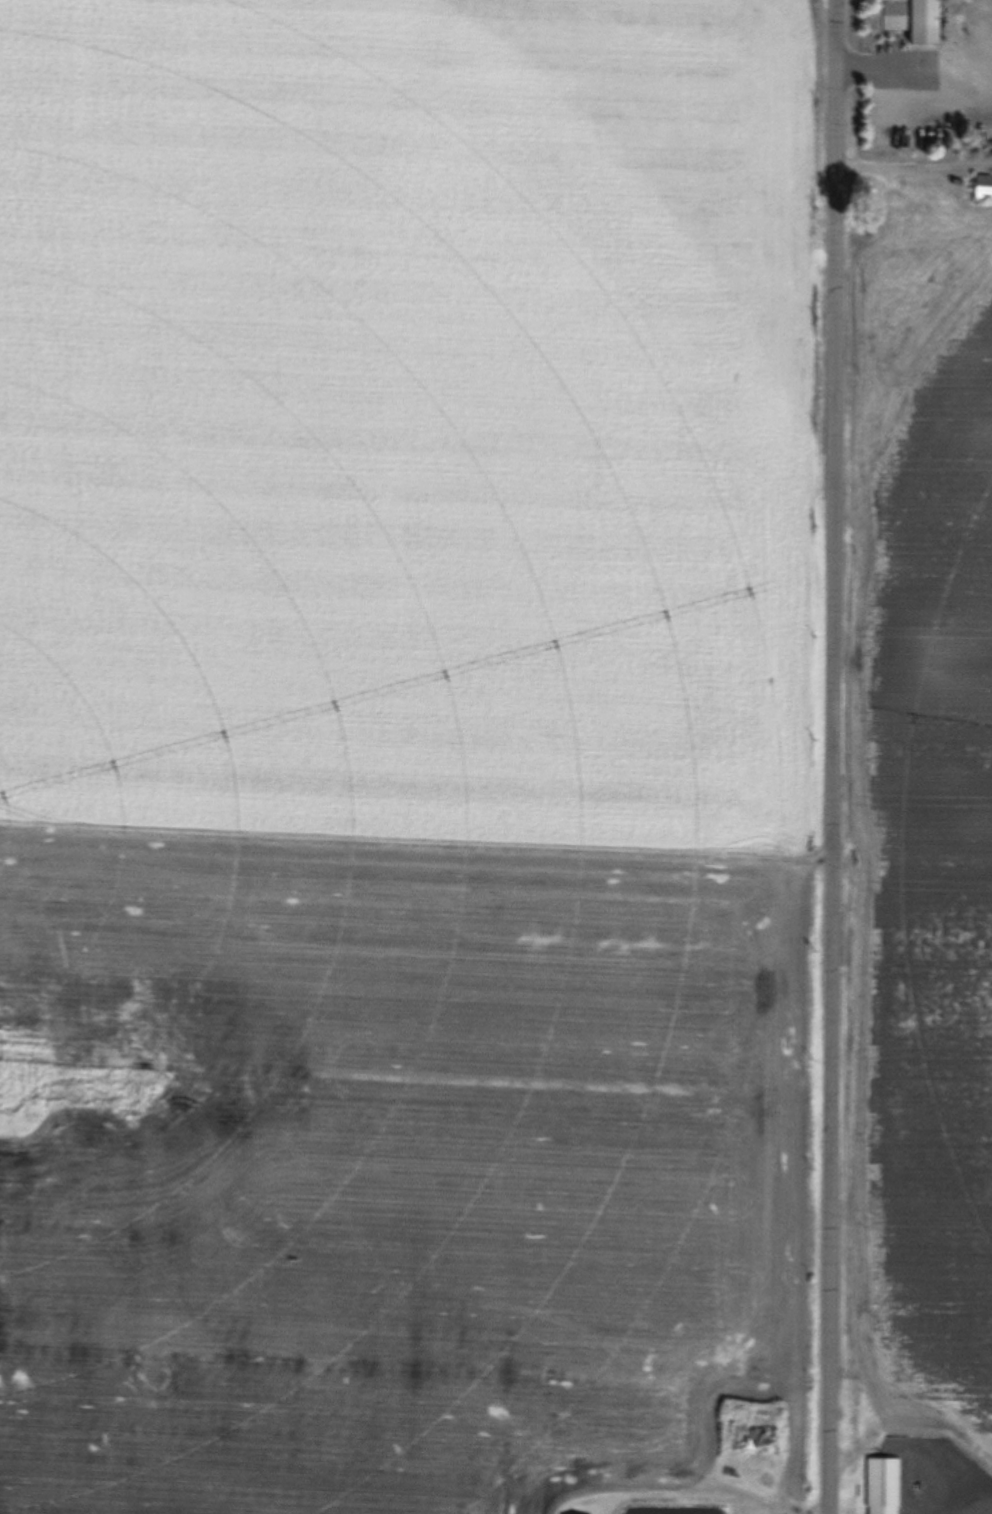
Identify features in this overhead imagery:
building: (915, 21)
building: (984, 188)
road: (834, 756)
building: (883, 1486)
building: (920, 1488)

